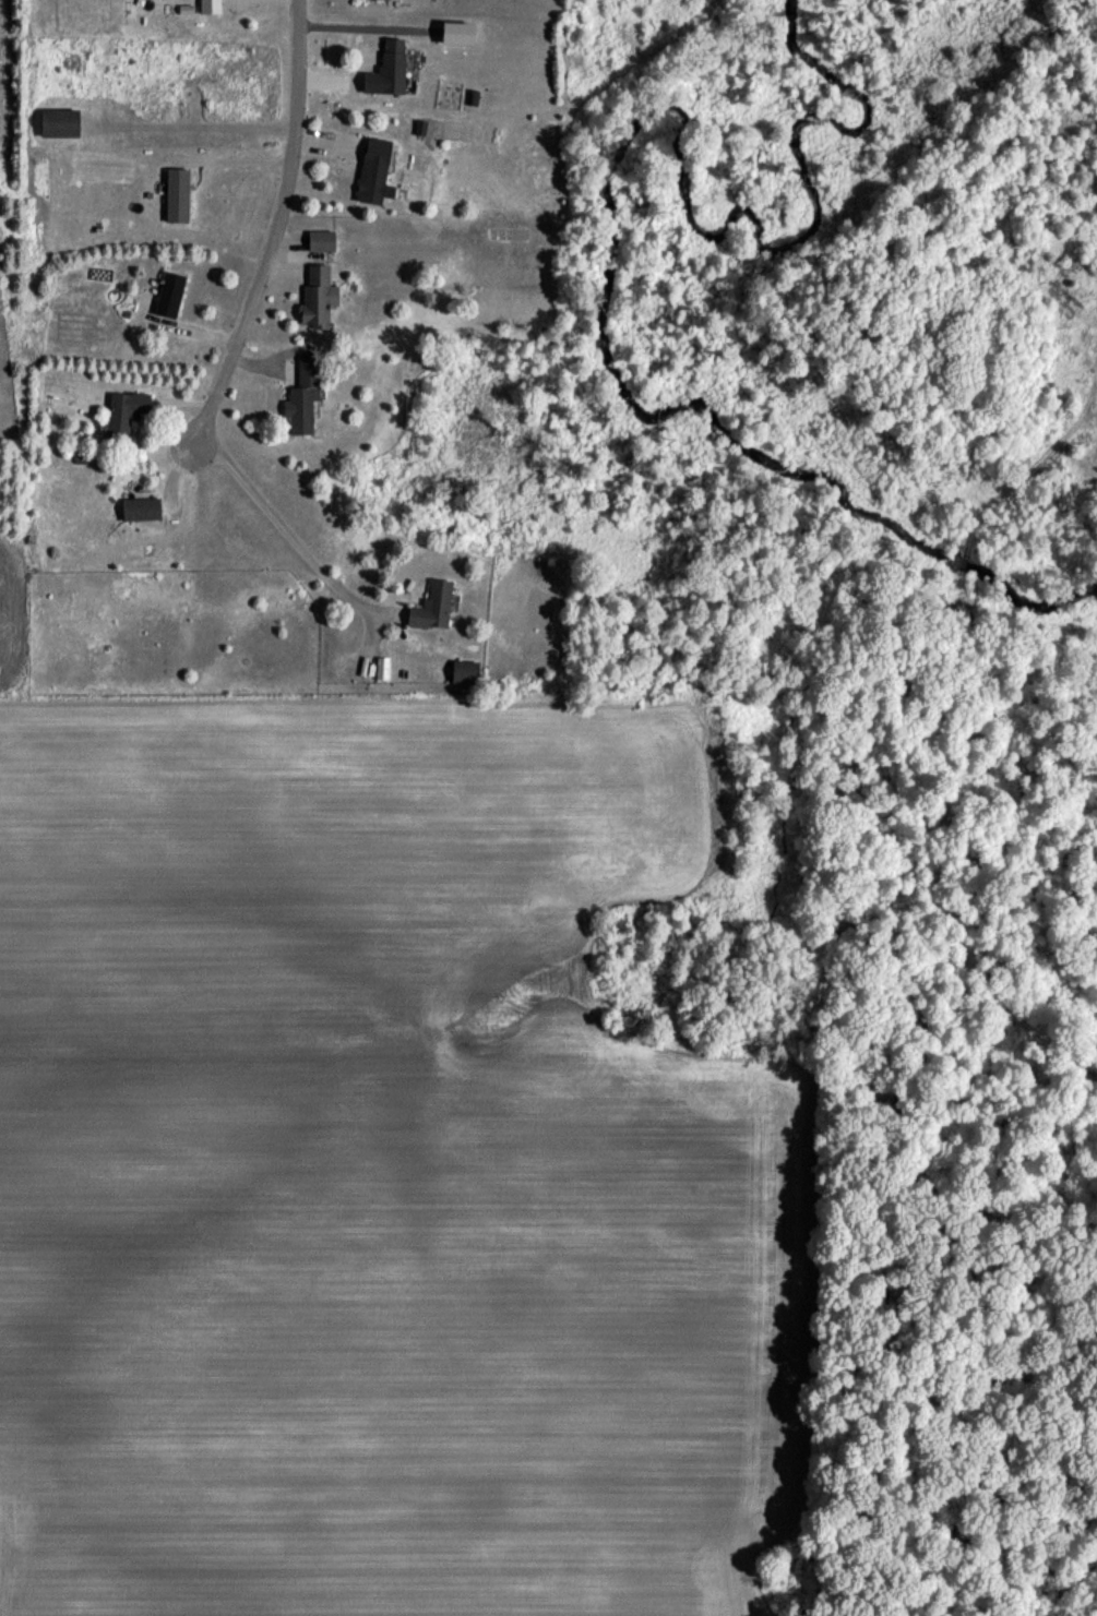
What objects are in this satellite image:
building: (374, 1)
building: (206, 9)
building: (385, 74)
building: (57, 128)
road: (248, 164)
building: (371, 177)
building: (175, 200)
road: (276, 229)
building: (318, 246)
building: (167, 300)
building: (314, 301)
building: (299, 403)
building: (122, 419)
building: (136, 514)
road: (284, 530)
building: (430, 613)
building: (381, 674)
building: (462, 678)
crop: (374, 1175)

